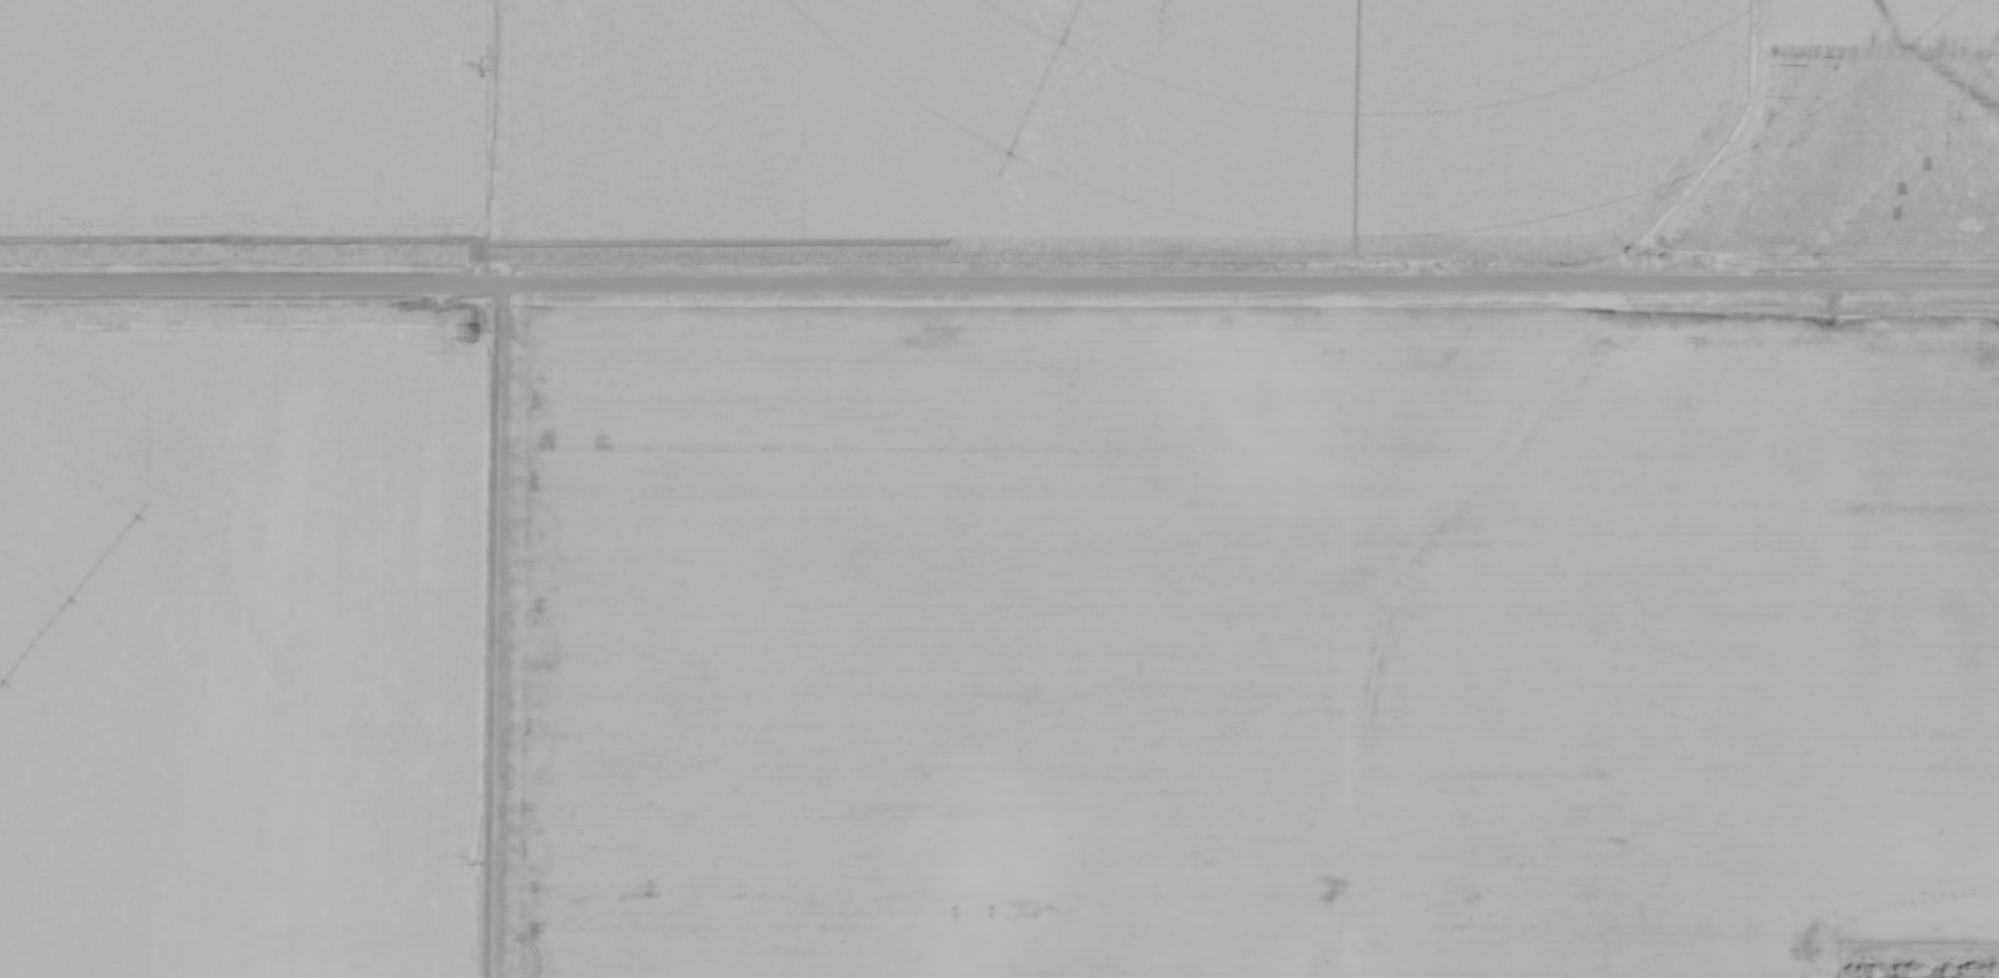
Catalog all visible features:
road: (999, 289)

